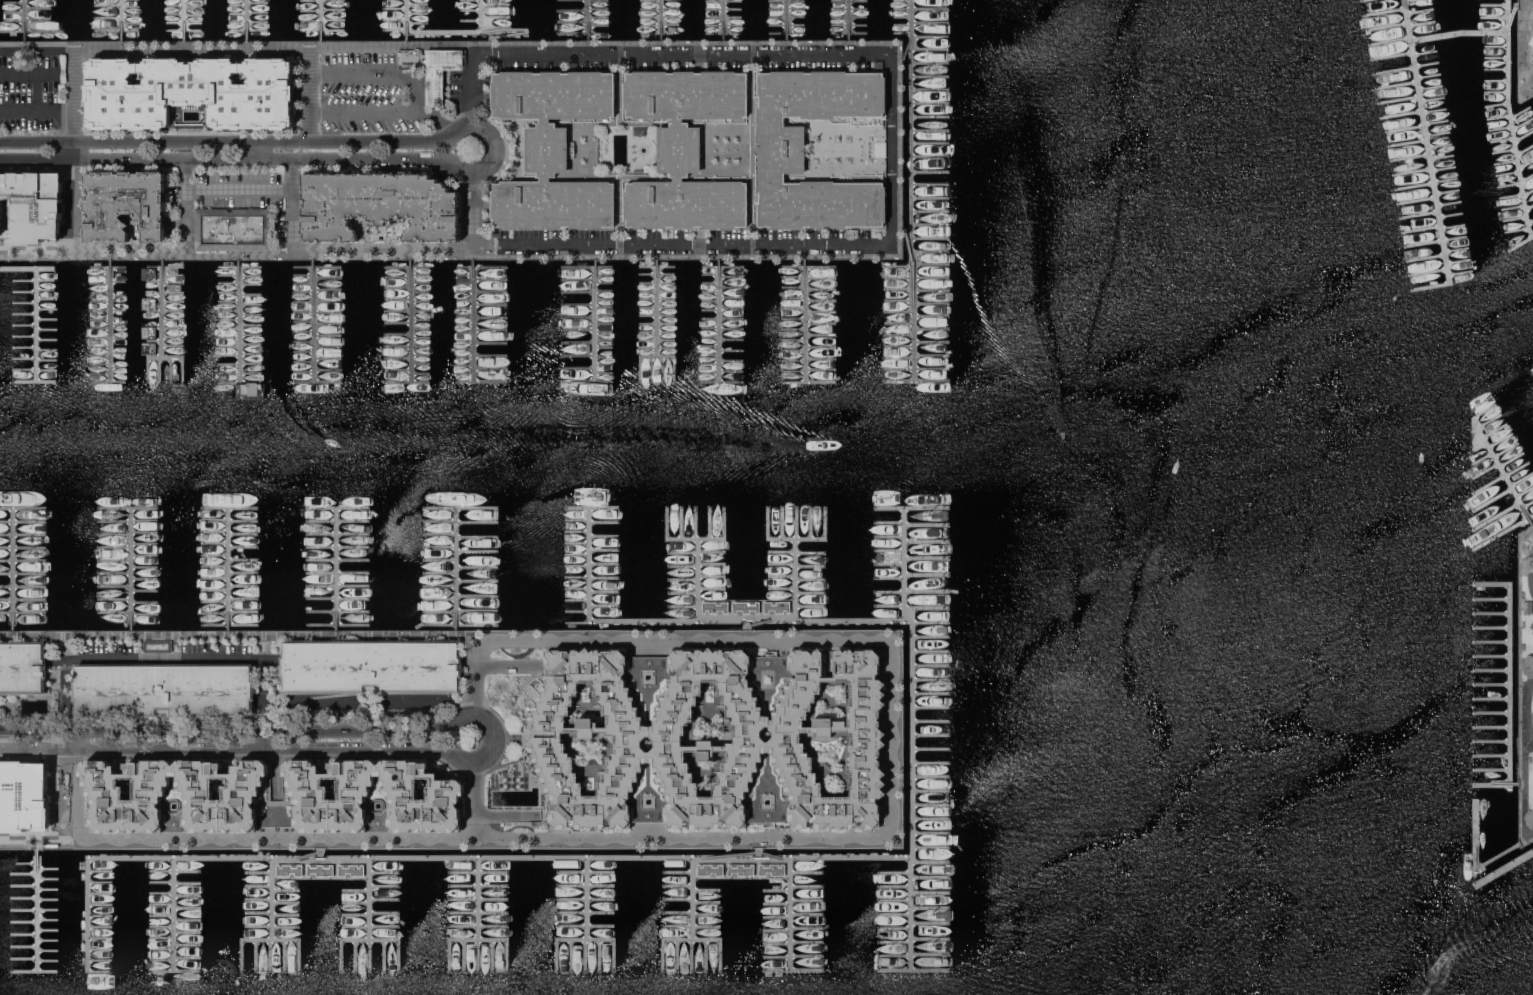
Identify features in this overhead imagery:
pier: (1493, 4)
pier: (1419, 10)
pier: (1384, 12)
pier: (1511, 13)
pier: (1493, 17)
pier: (23, 19)
pier: (119, 19)
pier: (183, 19)
pier: (405, 19)
pier: (586, 19)
pier: (659, 19)
pier: (721, 19)
pier: (784, 19)
pier: (847, 19)
pier: (246, 20)
pier: (320, 20)
pier: (1421, 21)
pier: (1386, 26)
pier: (503, 28)
pier: (909, 30)
road: (1531, 32)
pier: (1438, 36)
building: (1532, 37)
pier: (1389, 40)
road: (775, 42)
pier: (1485, 43)
pier: (1484, 56)
road: (1517, 59)
pier: (1499, 61)
pier: (1484, 67)
building: (434, 68)
road: (26, 72)
road: (364, 72)
pier: (1484, 78)
road: (475, 89)
parking lot: (32, 90)
road: (36, 90)
building: (190, 91)
pier: (1484, 91)
road: (310, 107)
road: (37, 109)
road: (364, 112)
road: (425, 114)
building: (640, 130)
road: (74, 139)
road: (226, 142)
road: (496, 146)
road: (654, 146)
building: (552, 148)
road: (589, 148)
building: (685, 148)
building: (782, 149)
road: (889, 149)
road: (227, 161)
pier: (1509, 168)
pier: (1433, 185)
road: (236, 199)
building: (125, 204)
building: (30, 205)
building: (378, 205)
road: (478, 207)
building: (234, 229)
road: (37, 248)
road: (265, 248)
pier: (17, 268)
pier: (912, 304)
pier: (656, 305)
pier: (161, 307)
pier: (804, 318)
pier: (718, 319)
pier: (110, 320)
pier: (237, 320)
pier: (312, 320)
pier: (410, 320)
pier: (473, 320)
pier: (595, 320)
pier: (37, 325)
pier: (1489, 420)
pier: (1494, 429)
pier: (1500, 438)
pier: (1505, 449)
pier: (1482, 457)
pier: (1511, 458)
pier: (1496, 460)
pier: (1516, 468)
pier: (1485, 470)
pier: (1522, 478)
pier: (1488, 482)
pier: (1524, 489)
pier: (1491, 498)
pier: (1527, 503)
pier: (1495, 514)
pier: (1502, 532)
pier: (227, 567)
pier: (12, 568)
pier: (130, 568)
pier: (455, 568)
pier: (335, 569)
pier: (794, 578)
pier: (697, 579)
pier: (1493, 599)
building: (715, 606)
building: (745, 606)
building: (776, 606)
building: (1527, 606)
pier: (1493, 613)
pier: (745, 616)
pier: (759, 620)
pier: (1493, 627)
road: (245, 634)
pier: (1493, 642)
building: (158, 645)
pier: (1493, 656)
road: (513, 665)
building: (371, 666)
building: (23, 667)
pier: (1493, 670)
pier: (1493, 684)
pier: (1511, 685)
park: (1526, 687)
building: (164, 689)
pier: (1493, 698)
road: (386, 699)
road: (1527, 708)
pier: (1493, 712)
road: (471, 713)
pier: (1493, 727)
road: (223, 731)
building: (771, 739)
road: (76, 740)
road: (252, 740)
pier: (1493, 741)
road: (93, 749)
road: (219, 749)
road: (350, 749)
pier: (1493, 756)
road: (482, 759)
pier: (1493, 769)
pier: (1514, 784)
road: (1526, 785)
pier: (909, 788)
building: (175, 795)
building: (373, 796)
building: (33, 799)
road: (474, 800)
road: (780, 839)
road: (756, 842)
road: (725, 855)
road: (773, 855)
pier: (850, 856)
pier: (1475, 856)
pier: (492, 857)
pier: (599, 857)
pier: (382, 858)
pier: (741, 858)
pier: (174, 865)
pier: (1504, 867)
building: (290, 868)
building: (321, 868)
building: (351, 868)
building: (709, 868)
building: (740, 868)
building: (771, 868)
pier: (88, 871)
pier: (270, 871)
pier: (693, 899)
pier: (36, 908)
pier: (788, 911)

